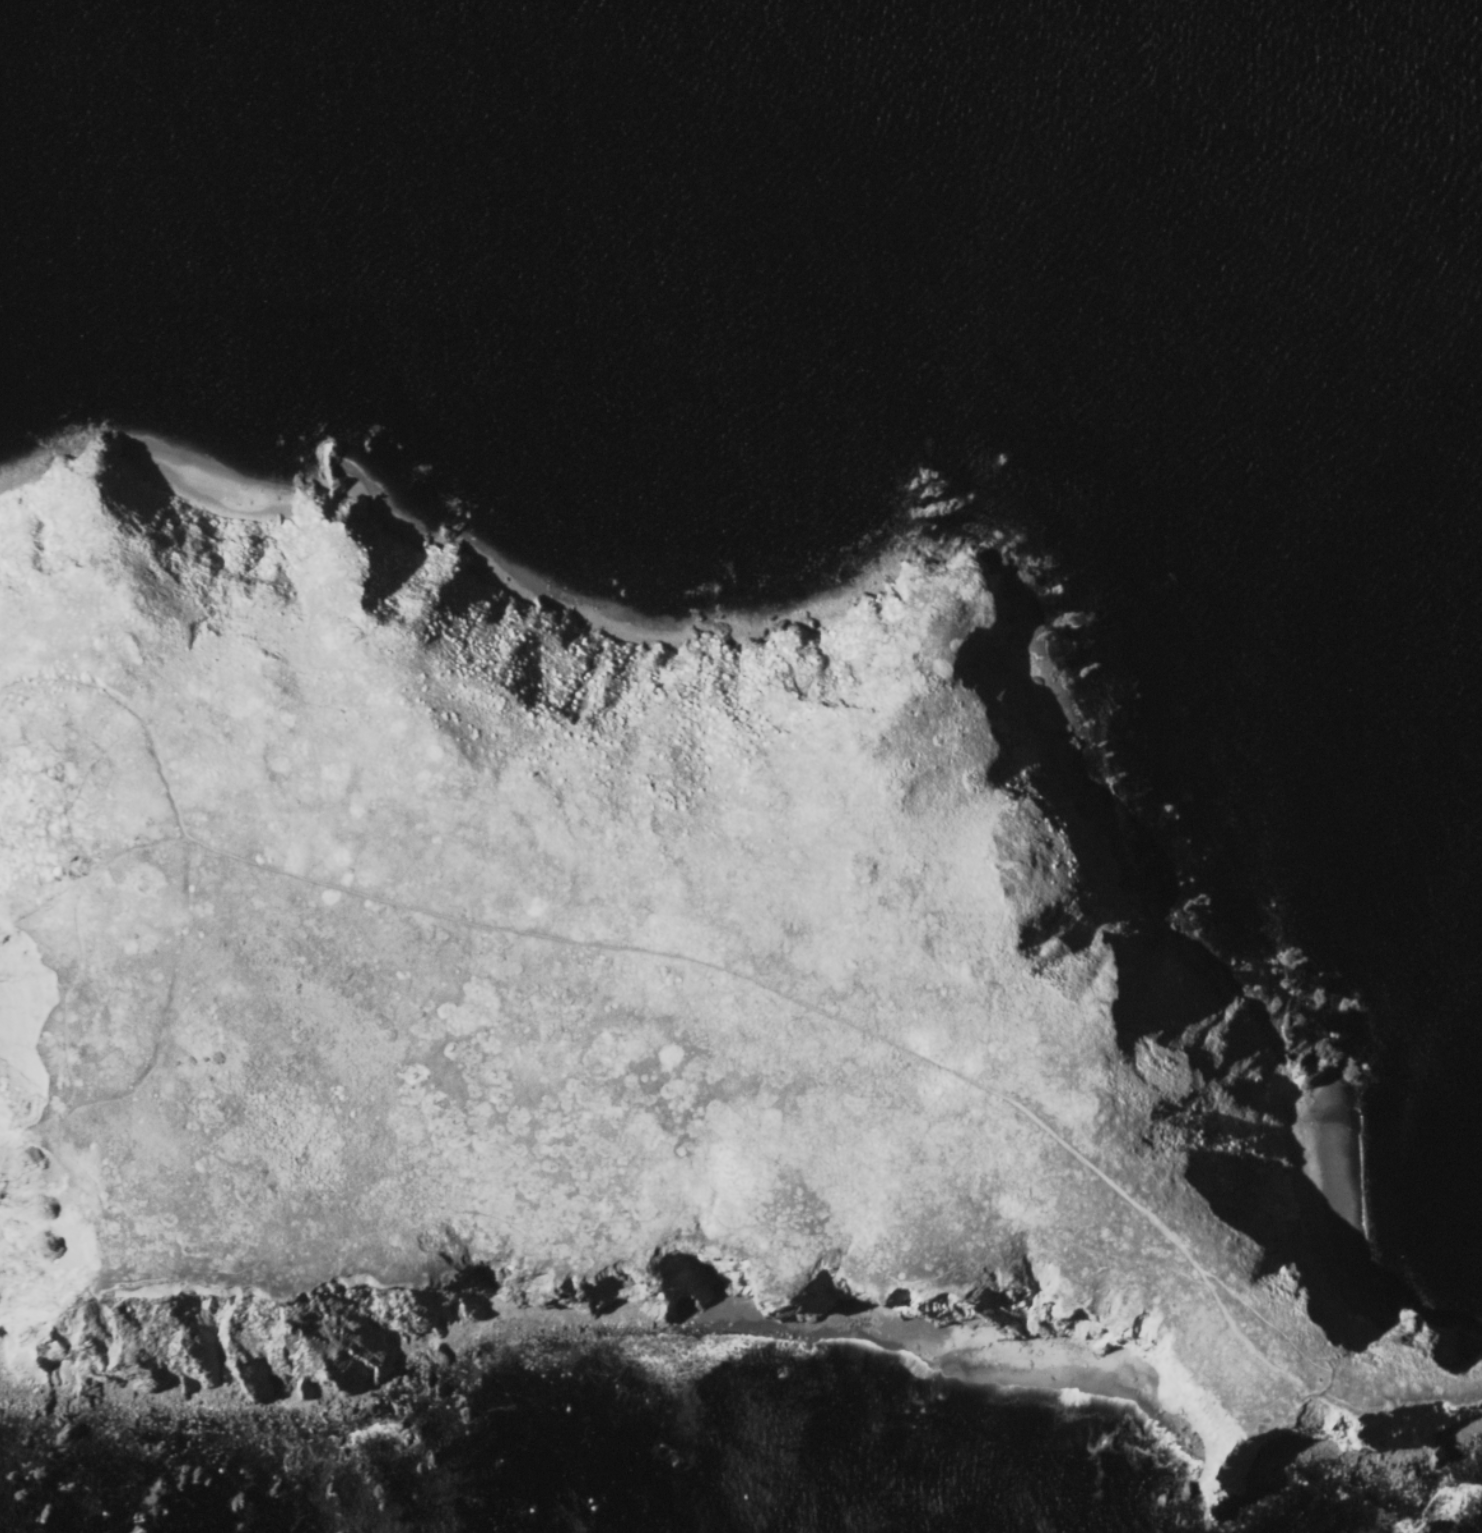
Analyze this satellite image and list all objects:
road: (131, 705)
road: (130, 847)
road: (74, 914)
road: (170, 1019)
road: (951, 1070)
road: (1124, 1114)
building: (84, 1121)
road: (99, 1196)
road: (574, 1231)
road: (803, 1236)
road: (303, 1240)
road: (1210, 1359)

